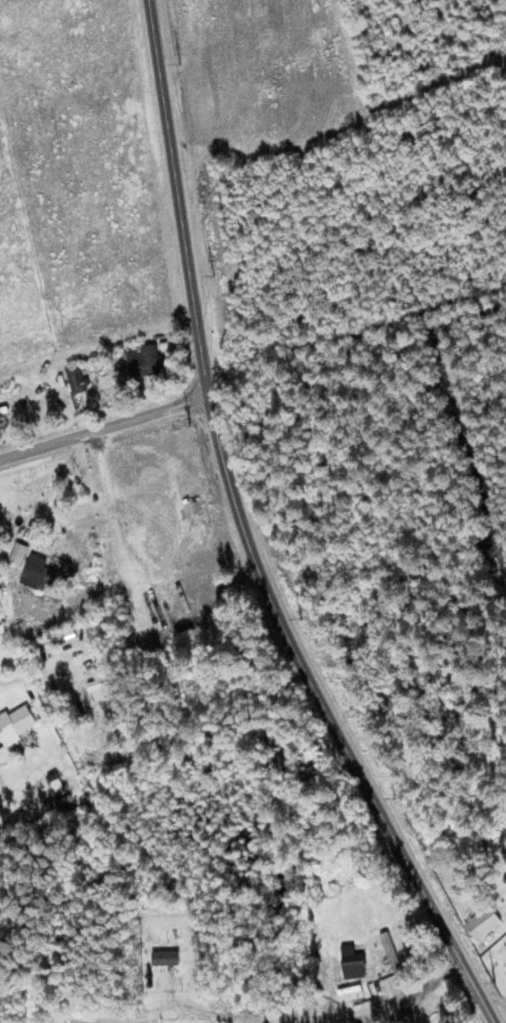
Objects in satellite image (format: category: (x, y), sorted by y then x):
building: (145, 360)
building: (77, 378)
road: (104, 429)
road: (244, 537)
building: (19, 552)
building: (37, 571)
road: (8, 680)
building: (17, 724)
building: (483, 922)
building: (354, 964)
road: (403, 1003)
road: (161, 1015)

